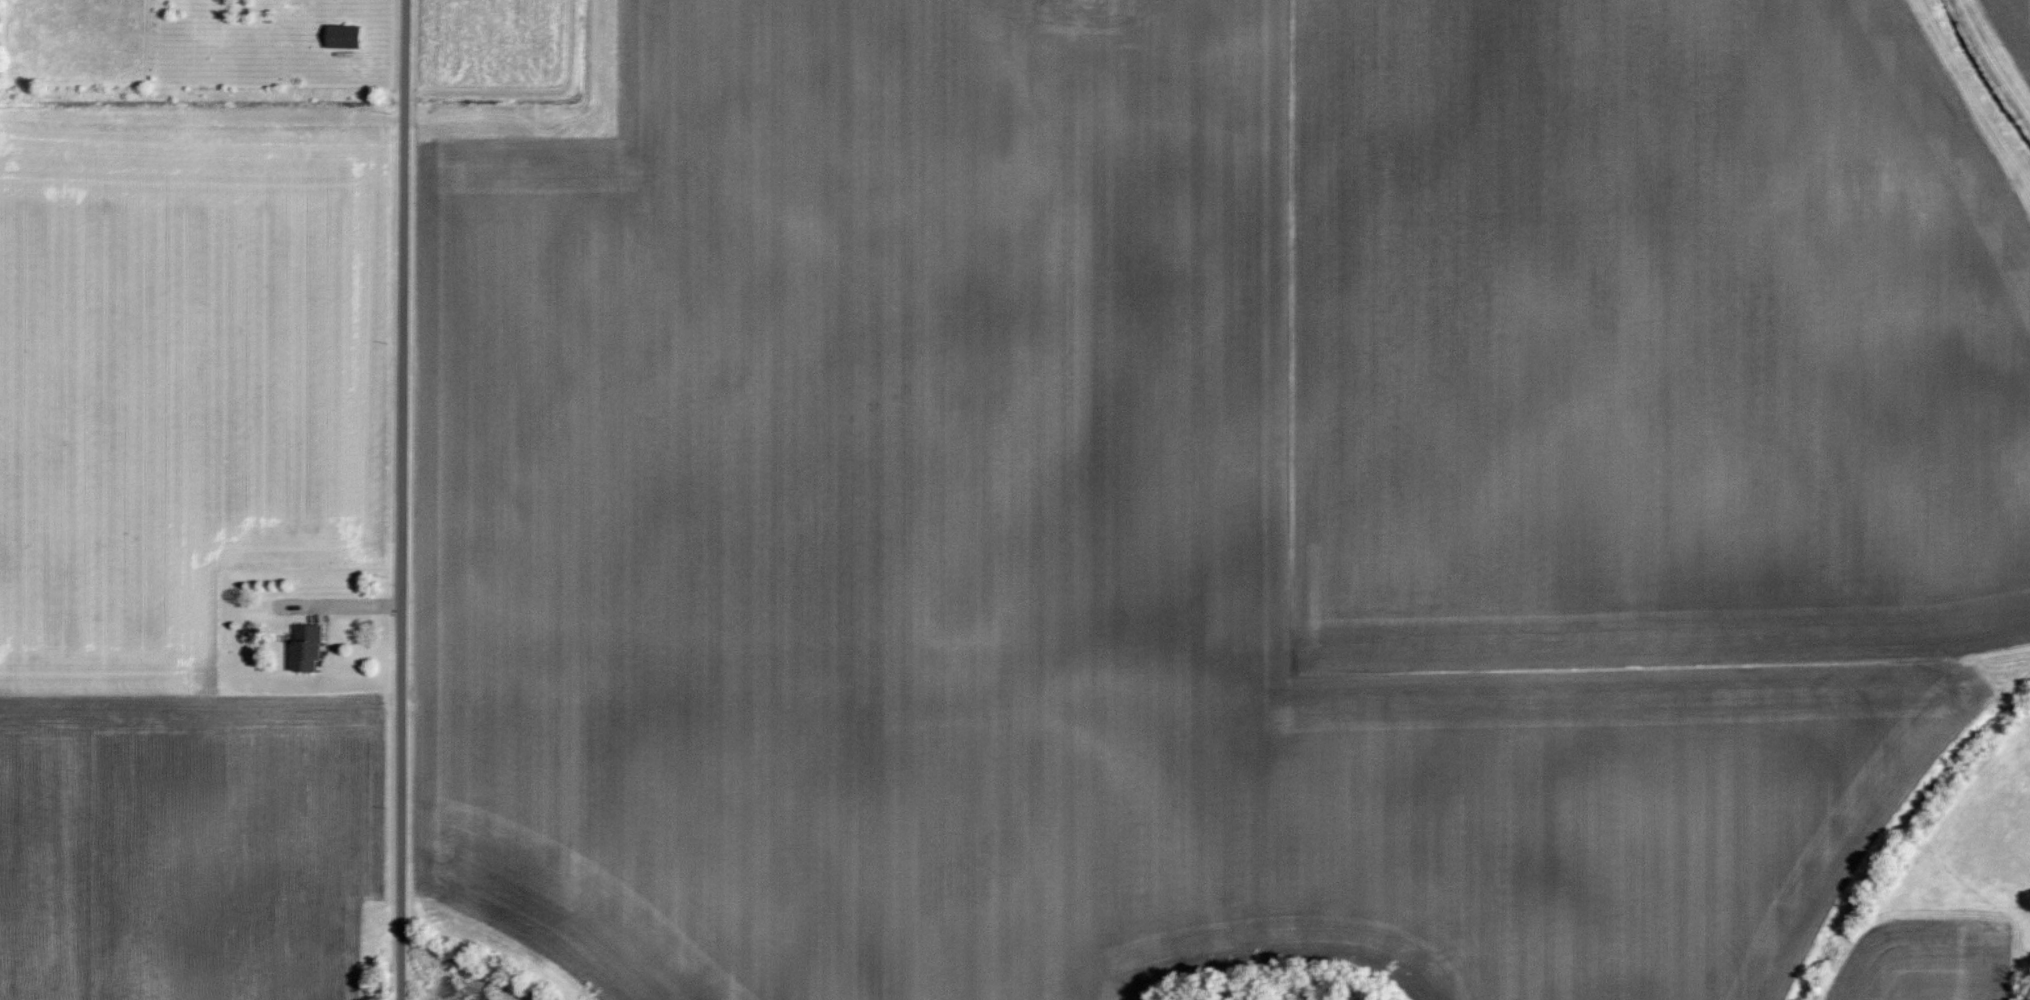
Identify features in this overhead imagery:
building: (341, 35)
road: (403, 500)
building: (305, 647)

